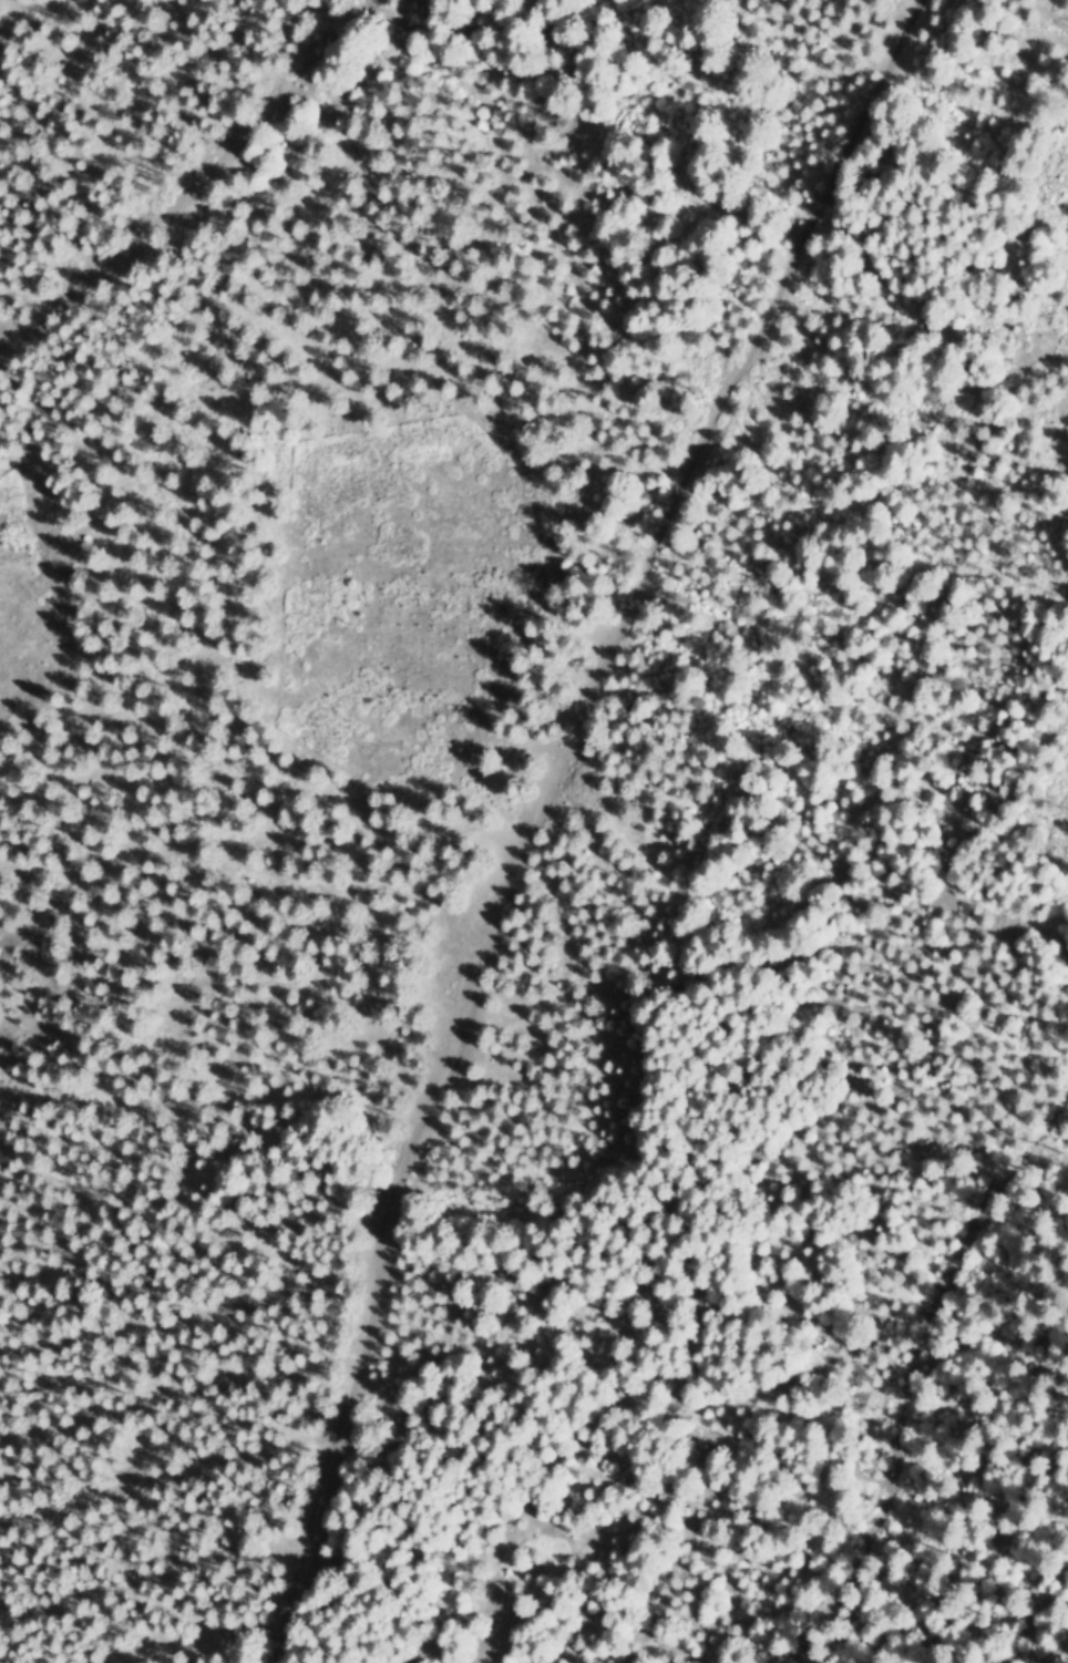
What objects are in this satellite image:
road: (538, 811)

